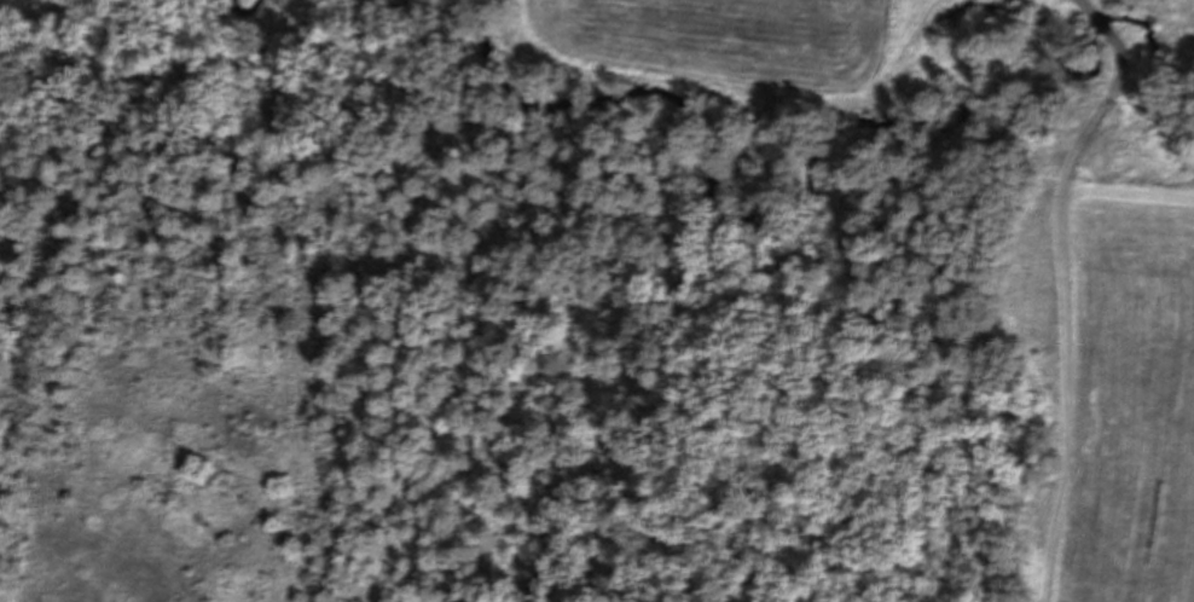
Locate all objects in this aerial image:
road: (1071, 282)

